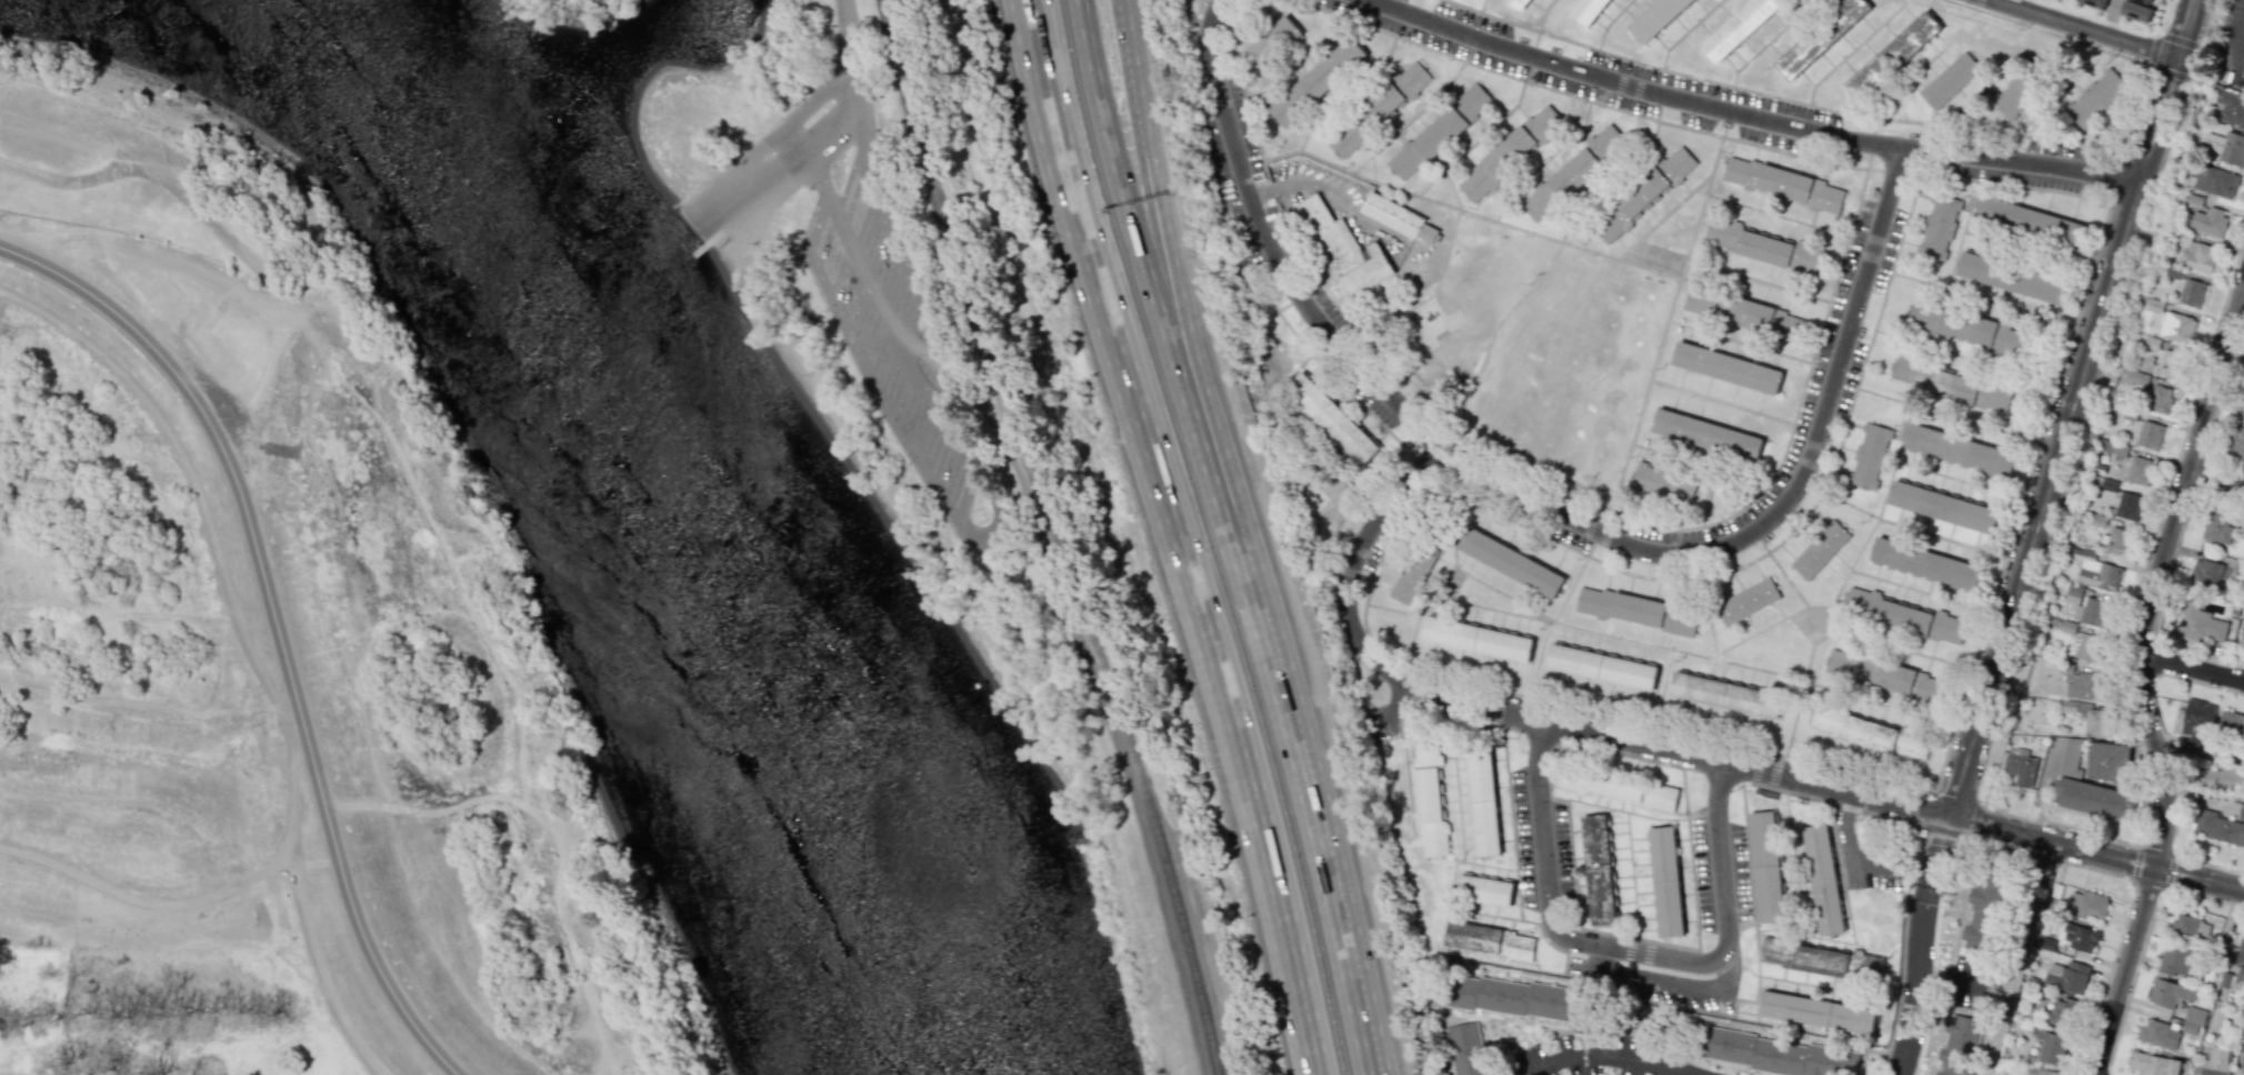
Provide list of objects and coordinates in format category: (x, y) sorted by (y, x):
building: (2147, 1)
building: (2093, 2)
park: (585, 3)
building: (1520, 4)
building: (1586, 10)
building: (2136, 11)
road: (2108, 17)
building: (1656, 18)
building: (1740, 27)
road: (2084, 28)
building: (1821, 37)
road: (2237, 39)
building: (1274, 41)
building: (1893, 54)
road: (840, 59)
building: (1950, 80)
building: (1320, 81)
road: (1632, 87)
railway: (911, 89)
building: (2025, 89)
railway: (905, 90)
building: (2101, 98)
building: (1378, 107)
building: (2231, 108)
road: (1140, 111)
building: (1440, 130)
road: (1064, 134)
road: (1052, 135)
building: (2226, 147)
building: (1511, 153)
road: (1119, 159)
road: (2018, 161)
road: (765, 172)
building: (1572, 172)
road: (1312, 180)
building: (2212, 181)
building: (1783, 184)
building: (1645, 193)
building: (1399, 218)
building: (2030, 220)
building: (2208, 222)
building: (1937, 227)
building: (1766, 245)
building: (2196, 254)
building: (1346, 255)
park: (1661, 261)
road: (1168, 267)
building: (2011, 277)
park: (860, 289)
building: (2191, 293)
road: (2243, 295)
road: (875, 312)
building: (1747, 313)
building: (2175, 326)
building: (1994, 336)
parking lot: (894, 340)
building: (2170, 364)
building: (1729, 366)
building: (2133, 378)
building: (1976, 390)
building: (2160, 400)
building: (2243, 404)
road: (2070, 409)
building: (1332, 419)
building: (1709, 434)
building: (2148, 434)
building: (2236, 441)
building: (1960, 449)
building: (1869, 455)
building: (2133, 468)
road: (191, 471)
road: (2216, 480)
building: (1665, 482)
road: (1545, 504)
building: (1943, 504)
building: (2126, 505)
river: (690, 511)
building: (2217, 525)
building: (2116, 541)
building: (1820, 547)
building: (1510, 560)
building: (1925, 563)
road: (1353, 564)
road: (1052, 569)
building: (2096, 572)
building: (1412, 573)
building: (2205, 574)
road: (2158, 577)
building: (1860, 599)
building: (1747, 601)
building: (2086, 607)
building: (1636, 611)
building: (1920, 621)
road: (277, 623)
railway: (1086, 623)
building: (2201, 623)
building: (1475, 636)
building: (2242, 637)
building: (2090, 647)
building: (1840, 663)
building: (1601, 664)
road: (1219, 667)
road: (2192, 667)
building: (1900, 680)
building: (2083, 686)
road: (1288, 690)
building: (1726, 693)
road: (1404, 706)
building: (2072, 706)
building: (2097, 722)
building: (2196, 722)
building: (2231, 723)
building: (1869, 732)
road: (1675, 750)
building: (2071, 757)
building: (2107, 761)
building: (2020, 768)
building: (2222, 776)
building: (1615, 787)
building: (1429, 797)
building: (1482, 800)
building: (2094, 800)
building: (2241, 812)
building: (2220, 827)
road: (1941, 841)
road: (1847, 846)
road: (2094, 853)
building: (1766, 866)
building: (1600, 870)
building: (1823, 880)
building: (1665, 883)
building: (1484, 890)
building: (2088, 904)
building: (1982, 915)
building: (2190, 926)
building: (2080, 937)
building: (1491, 942)
building: (2045, 943)
road: (1632, 951)
building: (1774, 952)
building: (2240, 958)
building: (2174, 961)
building: (1836, 963)
road: (1916, 969)
road: (2125, 971)
building: (2066, 976)
road: (1650, 982)
building: (2167, 993)
building: (1522, 1001)
building: (1817, 1011)
building: (2061, 1012)
building: (2192, 1018)
building: (2217, 1019)
building: (2242, 1029)
building: (2158, 1034)
building: (1959, 1045)
building: (2050, 1047)
building: (1465, 1049)
road: (1609, 1054)
building: (1774, 1054)
building: (2216, 1062)
building: (2146, 1064)
building: (2242, 1064)
building: (2173, 1066)
building: (2038, 1072)

